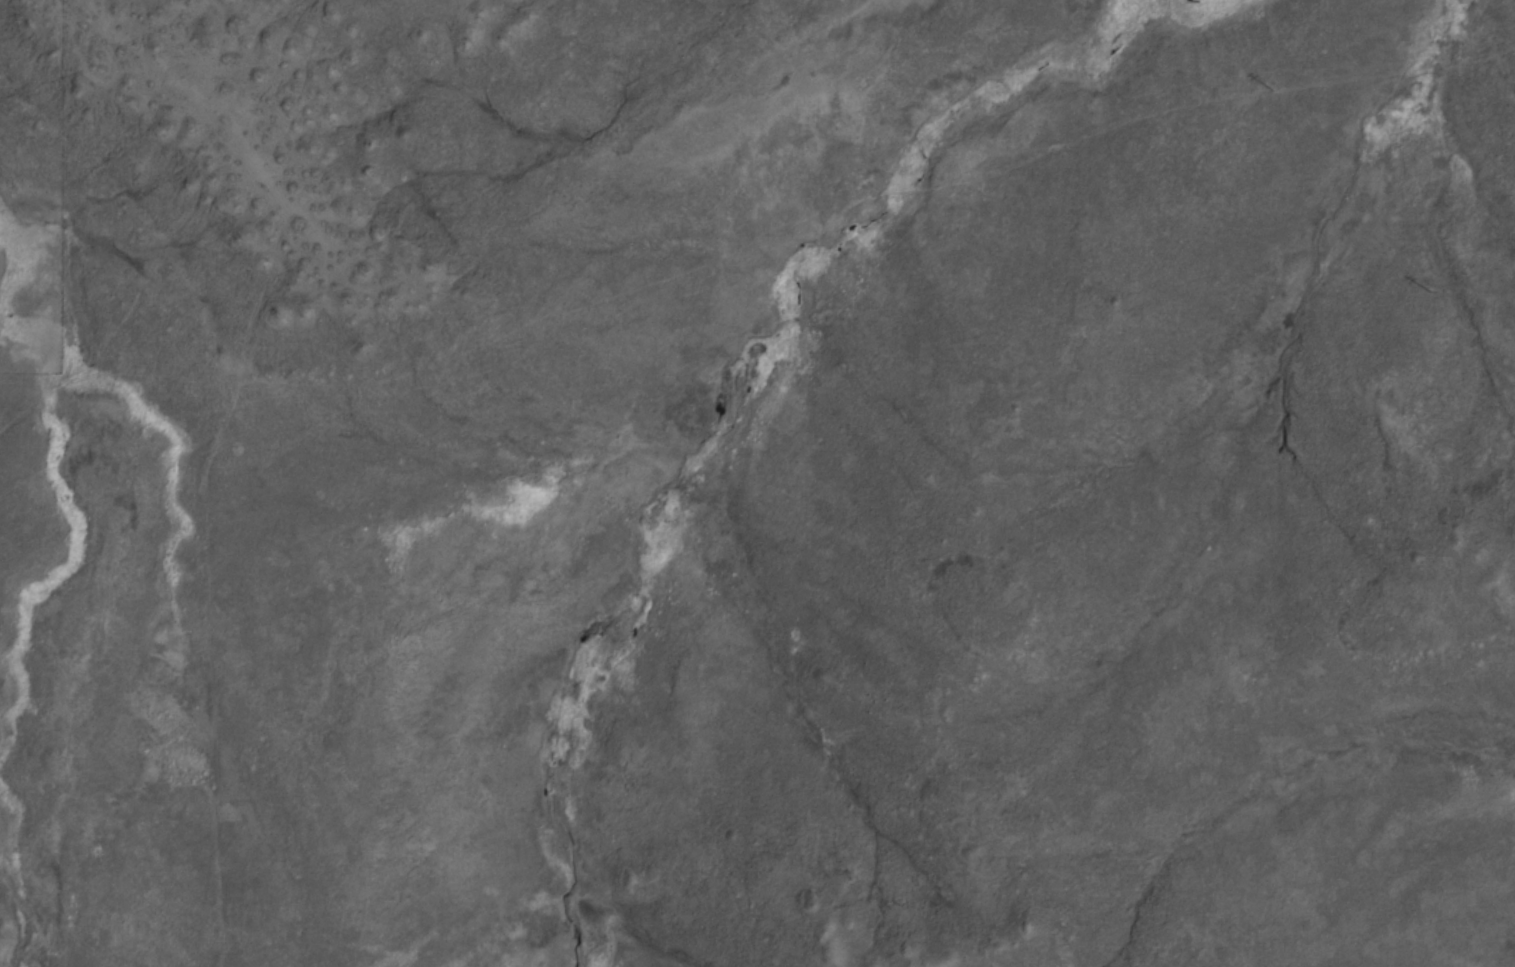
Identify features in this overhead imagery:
power tower: (1277, 92)
power tower: (1437, 293)

